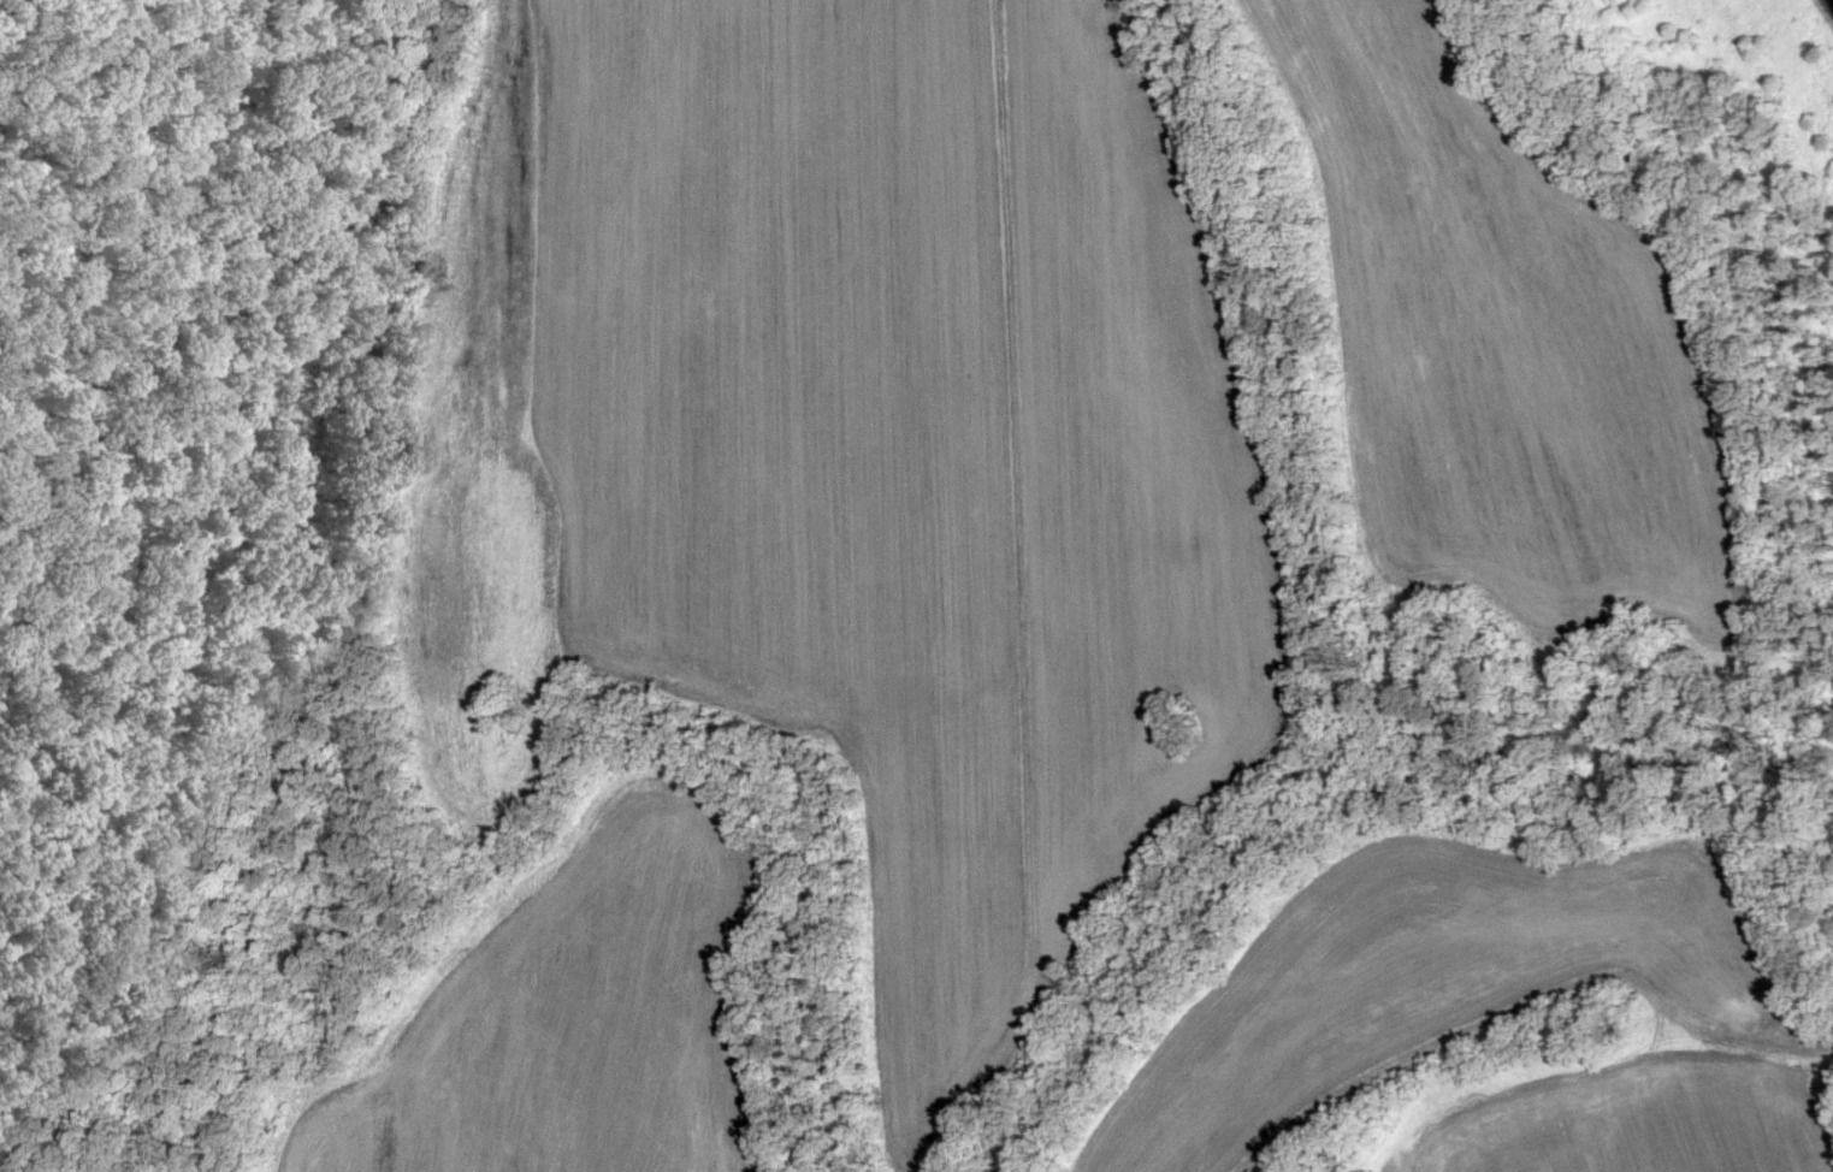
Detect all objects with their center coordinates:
road: (149, 386)

